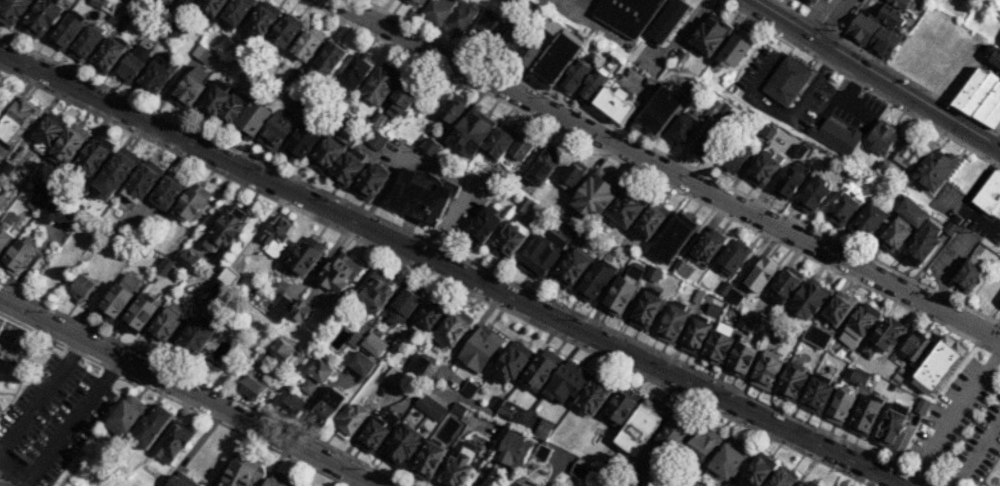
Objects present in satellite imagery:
building: (413, 0)
building: (811, 1)
building: (183, 2)
building: (516, 2)
building: (899, 3)
building: (104, 4)
road: (576, 4)
building: (157, 5)
building: (210, 6)
building: (167, 7)
building: (524, 8)
building: (11, 10)
building: (437, 10)
building: (234, 11)
road: (833, 12)
building: (626, 14)
building: (886, 14)
building: (40, 17)
building: (125, 17)
building: (461, 17)
building: (261, 19)
road: (591, 19)
building: (667, 20)
road: (808, 21)
building: (551, 24)
building: (485, 27)
building: (862, 28)
building: (66, 29)
building: (174, 29)
building: (284, 29)
road: (827, 31)
building: (709, 32)
road: (817, 32)
road: (678, 36)
building: (86, 40)
building: (509, 40)
building: (884, 42)
building: (307, 43)
building: (229, 46)
building: (734, 49)
building: (201, 53)
building: (106, 54)
building: (526, 55)
building: (328, 56)
building: (994, 56)
building: (556, 59)
building: (133, 62)
building: (355, 69)
building: (956, 69)
road: (900, 75)
building: (293, 76)
road: (871, 76)
building: (154, 77)
building: (573, 77)
building: (787, 81)
building: (378, 83)
road: (861, 83)
building: (188, 85)
building: (590, 87)
building: (969, 87)
building: (691, 88)
building: (334, 89)
building: (404, 93)
building: (981, 93)
building: (216, 96)
road: (844, 100)
building: (303, 103)
building: (617, 104)
building: (231, 106)
road: (799, 106)
building: (714, 107)
building: (990, 107)
building: (659, 109)
building: (353, 110)
building: (451, 110)
building: (251, 119)
building: (376, 119)
building: (17, 120)
building: (275, 129)
building: (472, 129)
building: (681, 129)
building: (44, 130)
building: (767, 131)
road: (997, 134)
building: (836, 136)
building: (302, 138)
building: (881, 138)
building: (375, 140)
building: (499, 140)
building: (67, 143)
road: (997, 143)
building: (711, 144)
building: (430, 146)
building: (520, 146)
building: (801, 151)
building: (327, 152)
building: (910, 154)
building: (92, 155)
building: (734, 155)
building: (0, 159)
road: (681, 162)
building: (543, 164)
building: (347, 167)
building: (763, 167)
building: (6, 168)
building: (879, 169)
road: (664, 170)
building: (933, 170)
road: (439, 172)
building: (112, 174)
building: (571, 176)
road: (651, 177)
building: (16, 179)
building: (139, 180)
building: (369, 180)
building: (786, 182)
building: (3, 183)
building: (898, 183)
building: (45, 188)
building: (166, 191)
building: (812, 193)
building: (421, 195)
building: (988, 195)
building: (594, 196)
building: (36, 201)
building: (191, 203)
building: (524, 204)
building: (626, 206)
building: (842, 209)
building: (912, 212)
building: (53, 216)
building: (869, 218)
building: (650, 220)
building: (484, 225)
road: (982, 225)
building: (224, 228)
building: (950, 228)
building: (558, 232)
building: (894, 233)
building: (275, 236)
building: (672, 236)
building: (510, 237)
building: (4, 239)
building: (922, 241)
building: (707, 248)
building: (303, 256)
building: (733, 256)
building: (16, 258)
building: (537, 258)
building: (186, 259)
road: (467, 261)
building: (573, 265)
road: (452, 268)
building: (682, 268)
building: (338, 273)
building: (761, 273)
building: (652, 274)
building: (967, 275)
road: (437, 276)
building: (227, 277)
building: (594, 281)
building: (785, 286)
building: (81, 288)
building: (725, 288)
building: (219, 290)
building: (374, 295)
building: (618, 296)
building: (697, 296)
building: (735, 298)
building: (808, 299)
building: (113, 302)
building: (282, 304)
building: (999, 304)
building: (838, 306)
building: (401, 307)
building: (713, 309)
building: (298, 311)
building: (646, 311)
building: (428, 313)
building: (136, 314)
building: (671, 324)
building: (744, 324)
building: (859, 325)
building: (163, 327)
building: (452, 328)
building: (695, 333)
building: (885, 333)
building: (775, 335)
building: (195, 336)
building: (816, 336)
building: (354, 339)
building: (717, 344)
building: (372, 346)
building: (914, 346)
building: (480, 349)
building: (281, 350)
building: (263, 359)
building: (740, 359)
building: (512, 361)
road: (23, 362)
building: (360, 364)
building: (420, 365)
building: (938, 365)
building: (766, 369)
building: (319, 370)
building: (538, 372)
building: (393, 375)
building: (859, 376)
building: (791, 381)
building: (566, 382)
road: (204, 383)
building: (252, 386)
building: (309, 387)
building: (468, 389)
road: (6, 393)
building: (817, 393)
road: (187, 394)
building: (592, 397)
road: (41, 398)
road: (173, 399)
building: (496, 403)
building: (921, 405)
building: (292, 406)
building: (430, 407)
building: (618, 407)
building: (838, 407)
building: (326, 408)
building: (459, 409)
building: (505, 411)
building: (866, 411)
road: (954, 414)
building: (123, 415)
building: (349, 420)
parking lot: (50, 422)
building: (149, 424)
building: (639, 426)
building: (892, 426)
parking lot: (962, 427)
building: (375, 432)
road: (61, 433)
building: (672, 433)
building: (173, 442)
building: (700, 443)
building: (401, 446)
building: (513, 448)
building: (542, 452)
road: (976, 454)
building: (726, 460)
building: (427, 461)
building: (456, 469)
building: (578, 470)
building: (241, 472)
building: (639, 472)
building: (753, 473)
building: (781, 477)
building: (180, 479)
building: (279, 480)
road: (355, 481)
building: (609, 482)
building: (808, 482)
building: (4, 483)
building: (517, 484)
building: (303, 485)
building: (683, 485)

